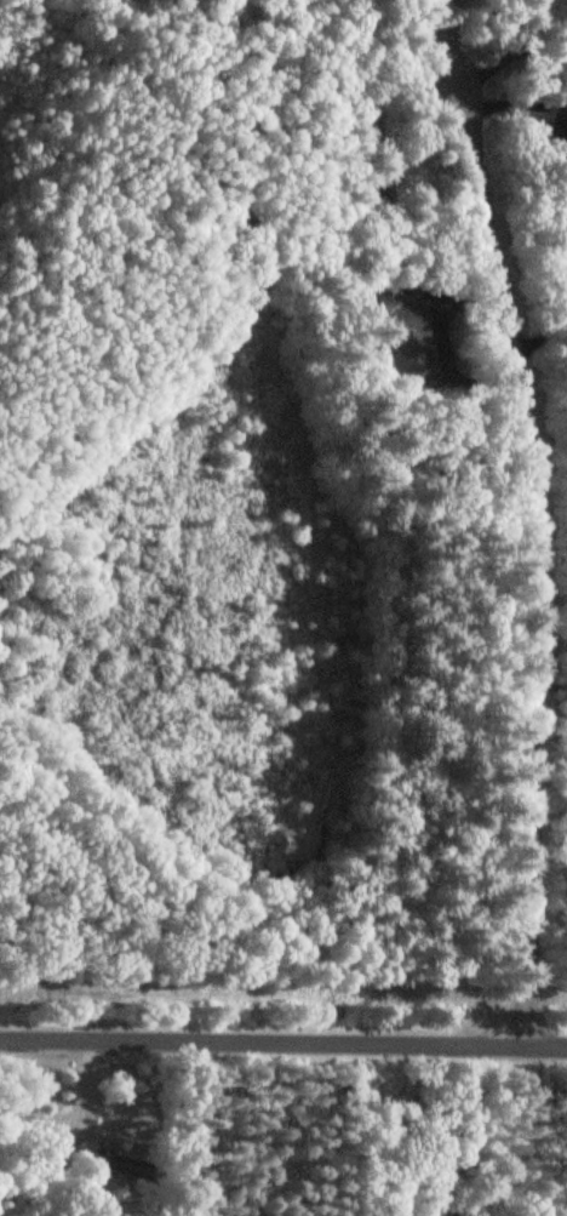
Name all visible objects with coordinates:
building: (397, 337)
road: (531, 515)
road: (283, 1039)
building: (115, 1169)

